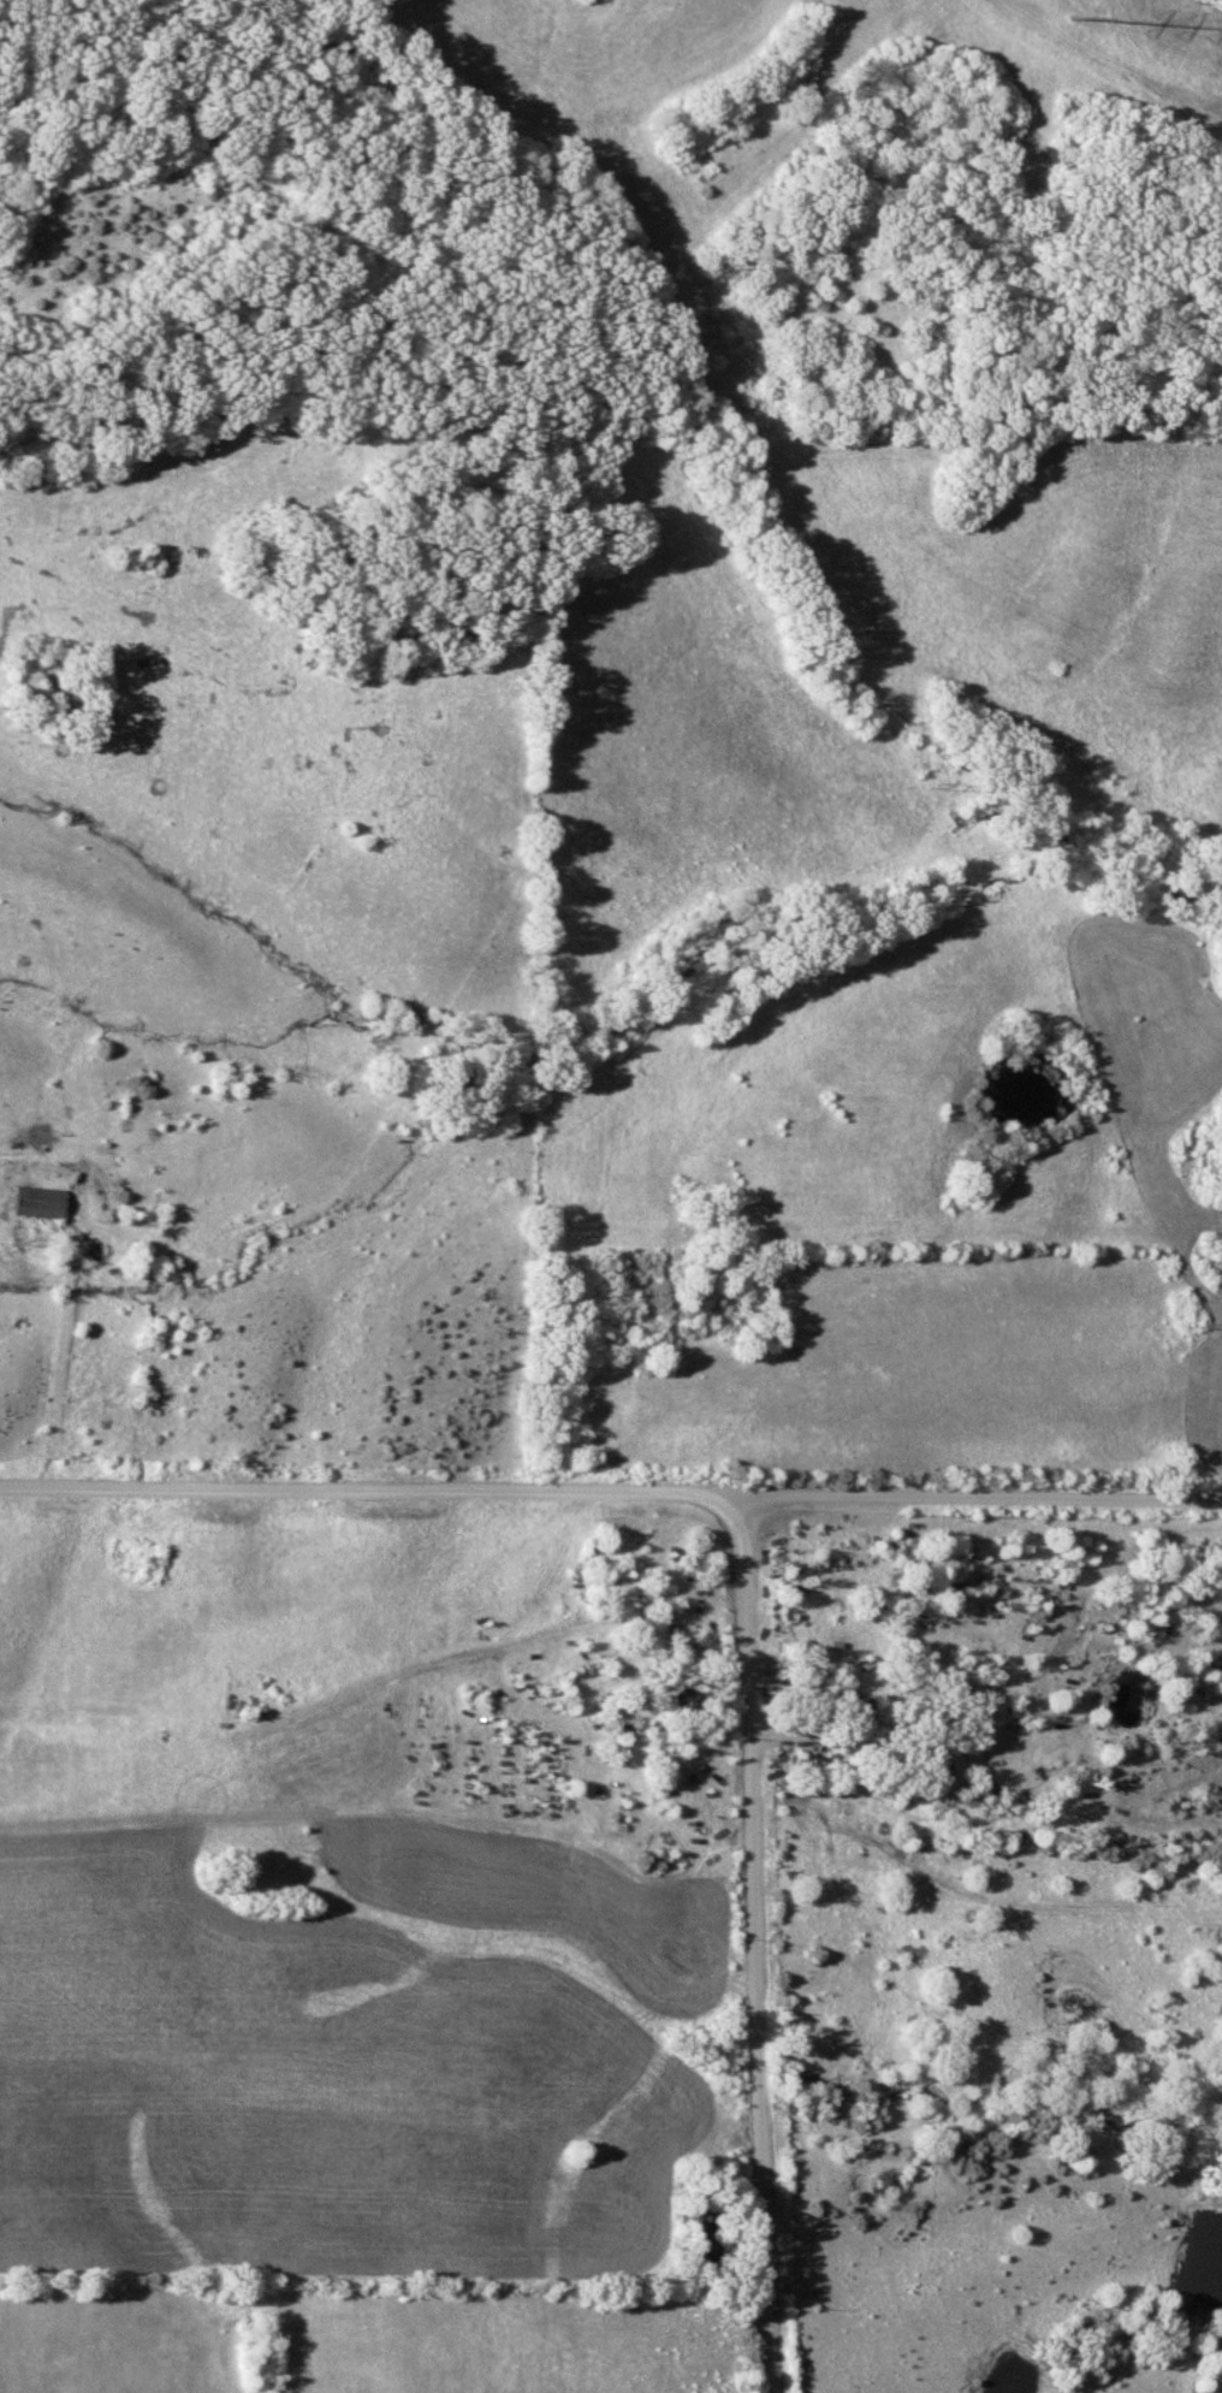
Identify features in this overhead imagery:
power tower: (1074, 28)
building: (41, 1201)
road: (366, 1485)
road: (975, 1495)
road: (754, 1949)

